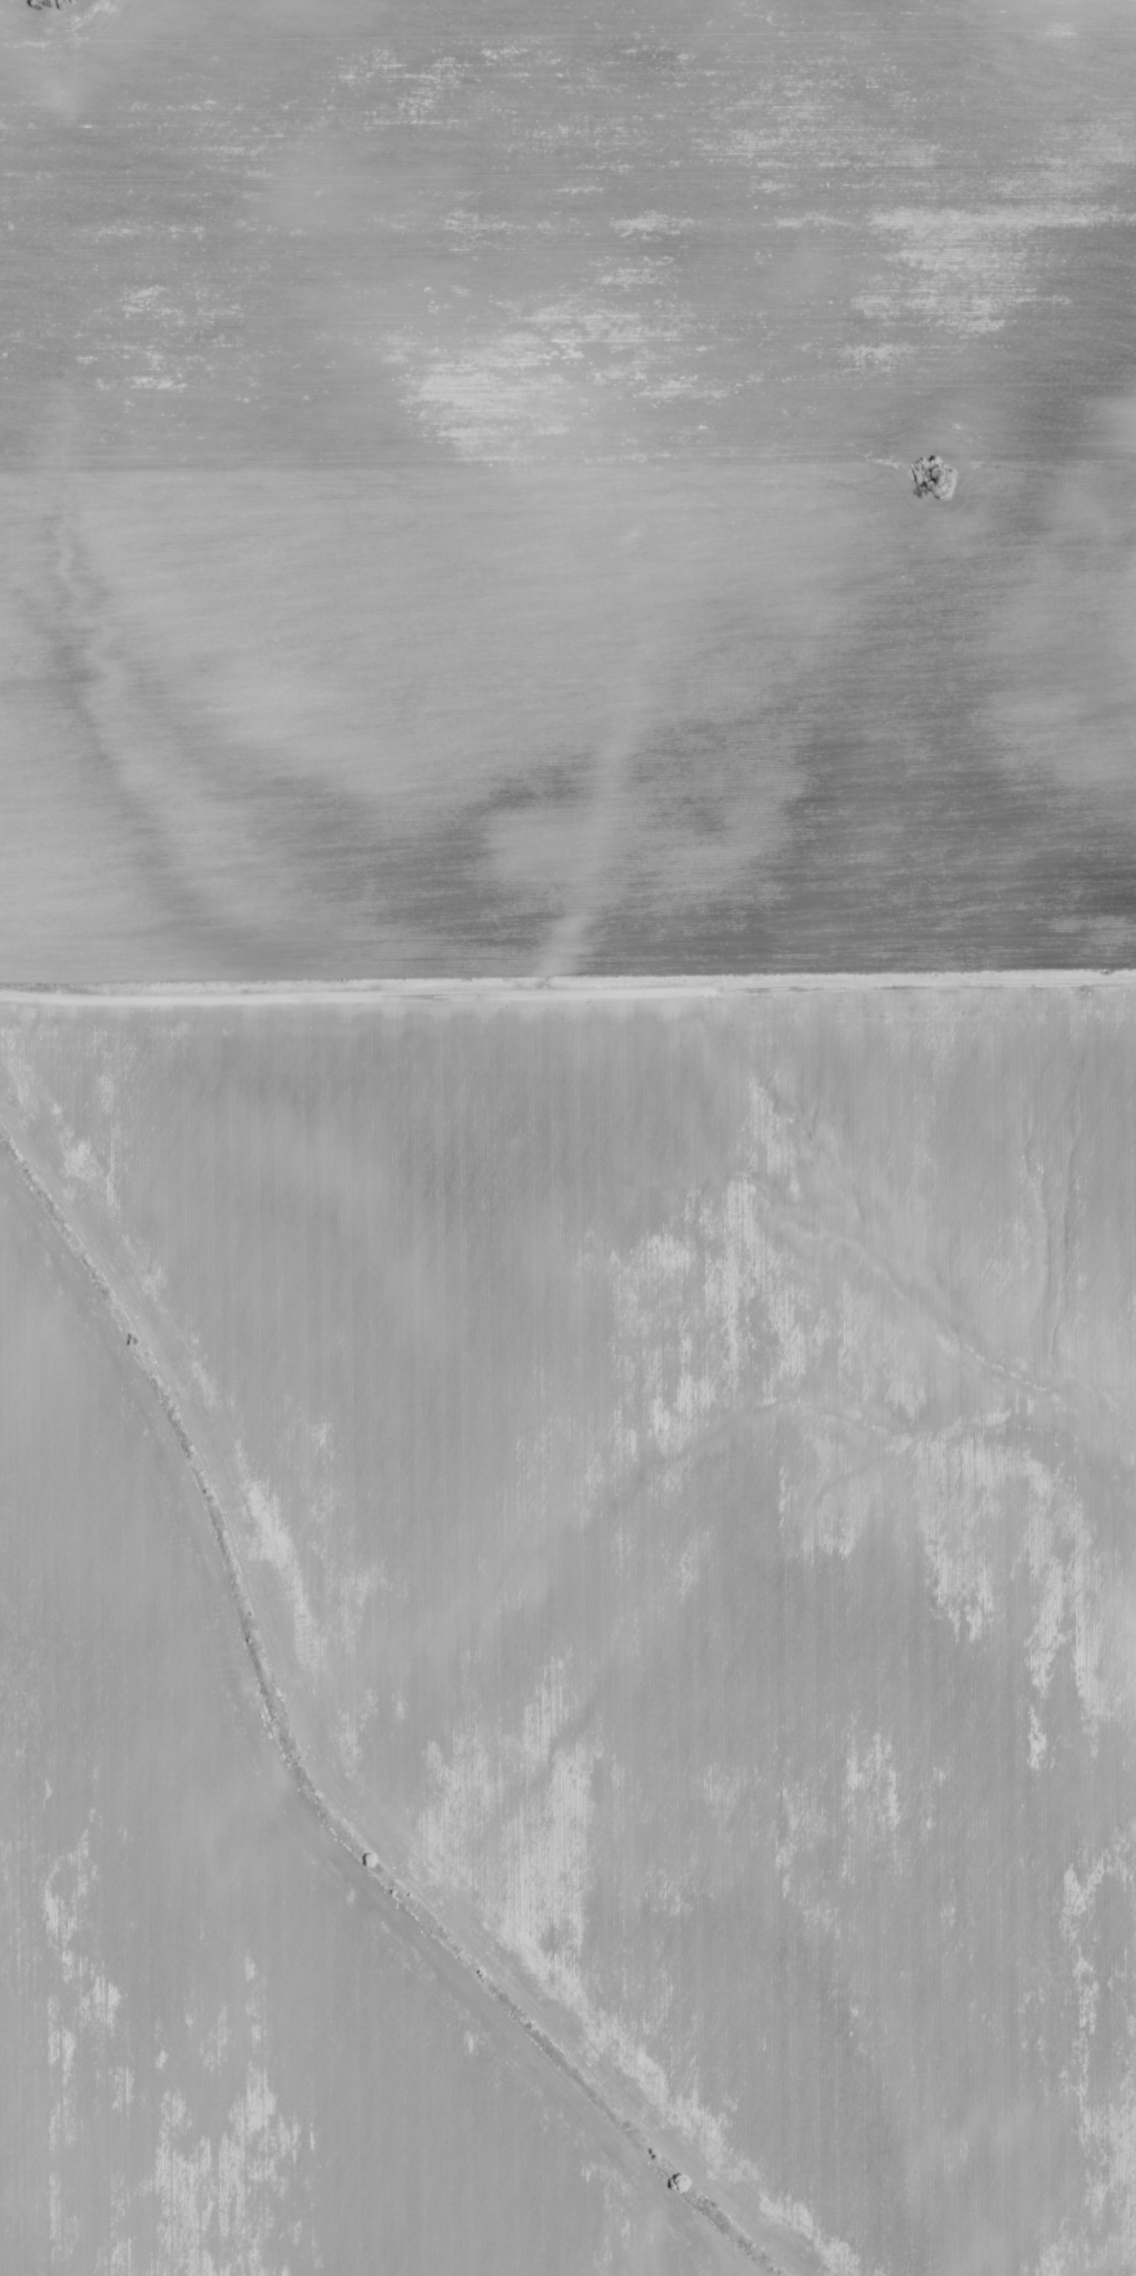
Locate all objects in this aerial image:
road: (567, 989)

